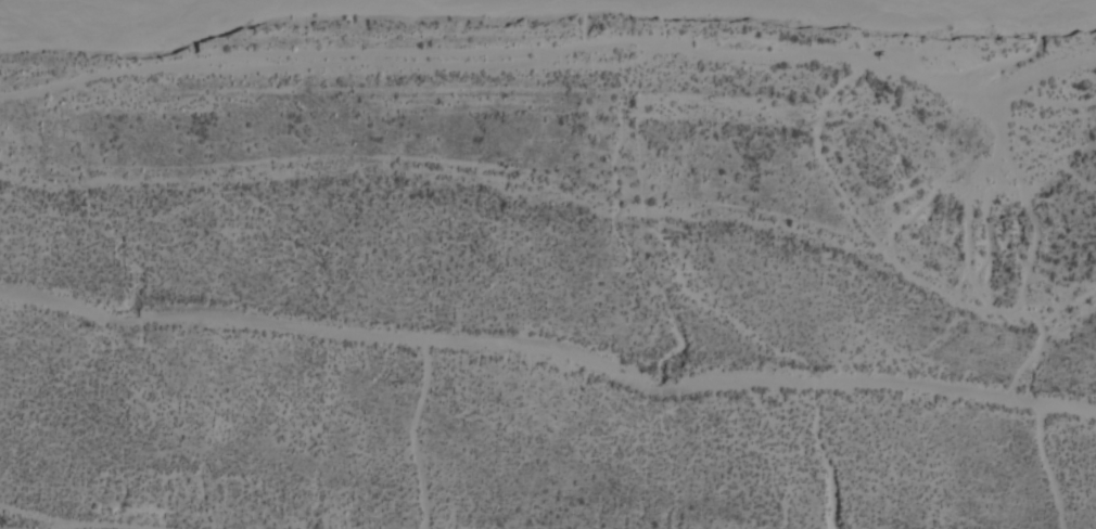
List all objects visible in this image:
river: (130, 18)

